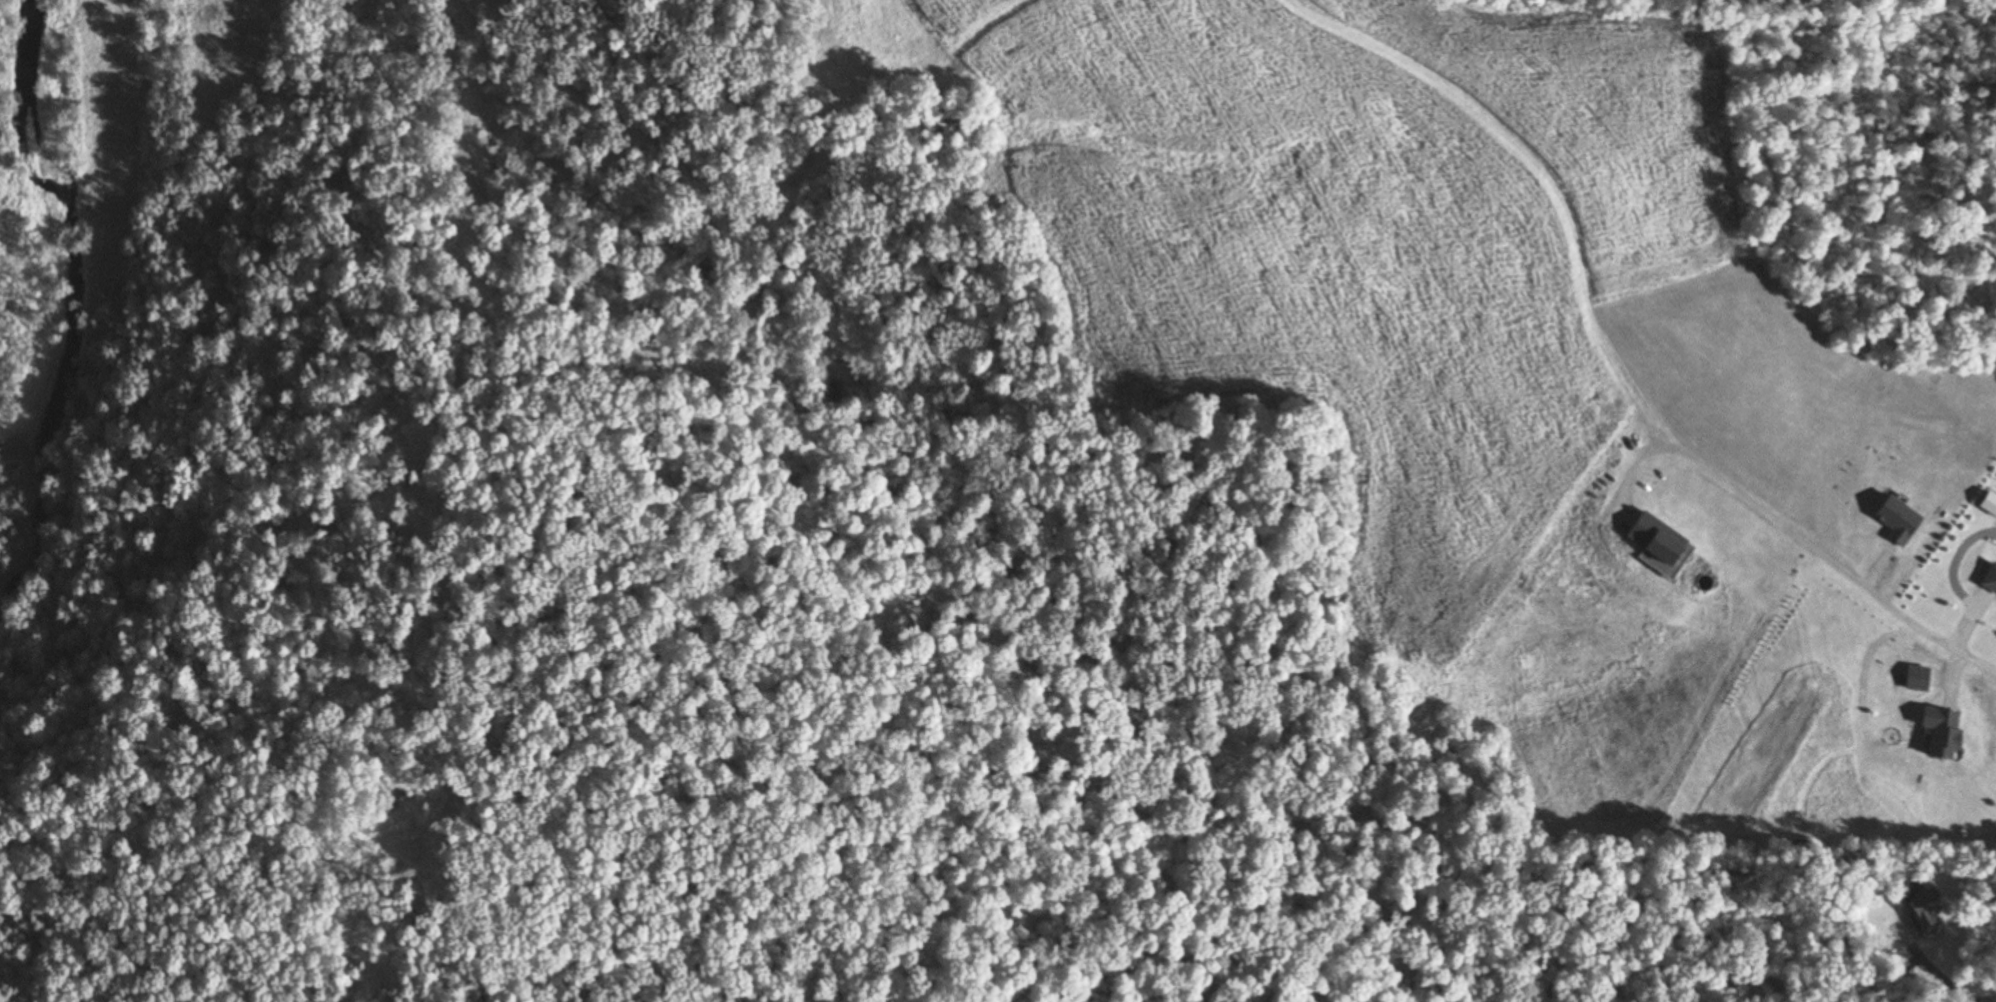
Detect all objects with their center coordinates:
road: (1905, 68)
road: (1794, 228)
road: (1950, 260)
building: (1988, 580)
road: (1892, 610)
building: (1918, 908)
road: (1931, 967)
road: (1992, 998)

